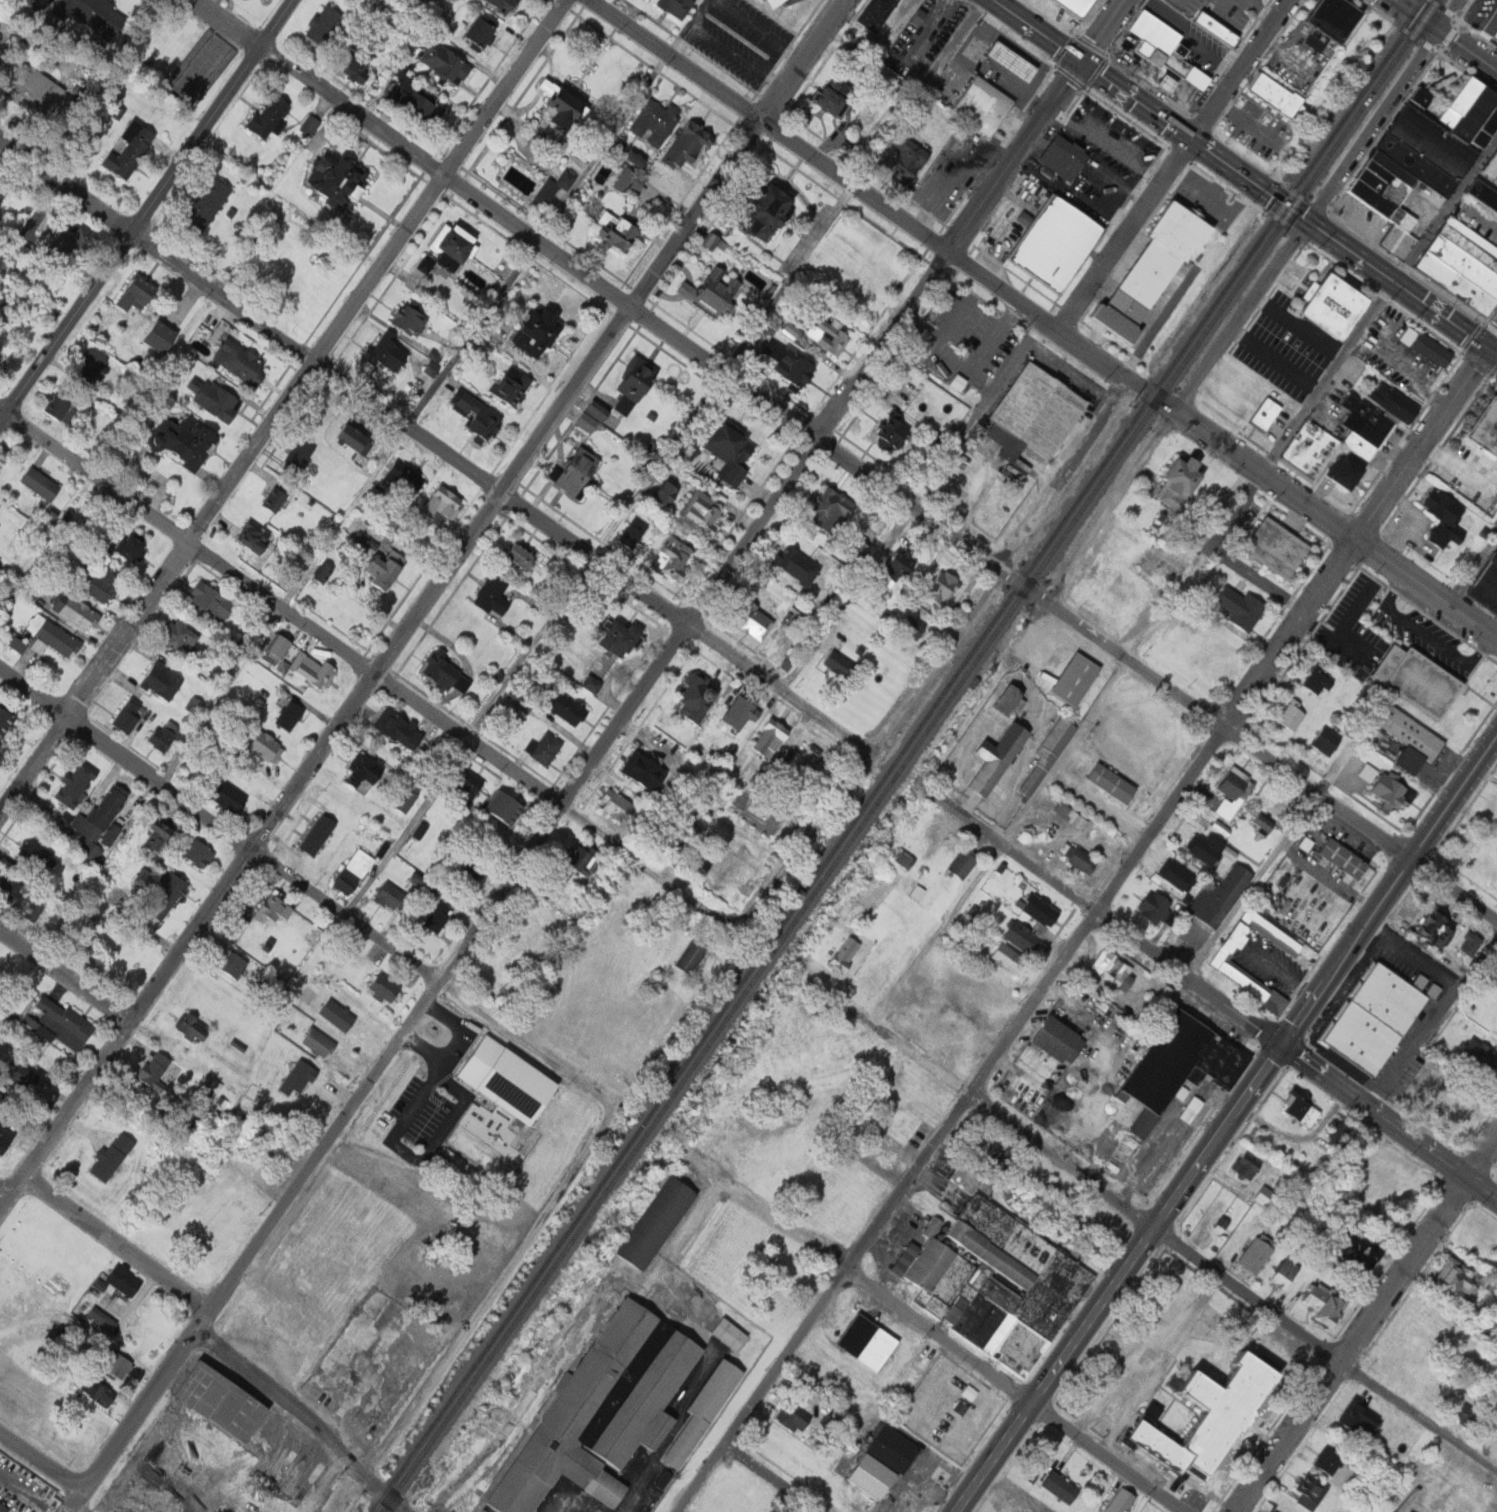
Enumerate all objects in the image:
building: (774, 3)
building: (508, 4)
building: (674, 6)
building: (1074, 6)
road: (1409, 9)
building: (875, 14)
building: (95, 15)
road: (1448, 15)
building: (918, 16)
building: (1331, 18)
building: (324, 23)
building: (1490, 23)
road: (688, 27)
building: (484, 29)
building: (1215, 29)
road: (762, 30)
building: (1494, 41)
road: (1460, 45)
building: (1166, 49)
road: (737, 57)
building: (446, 60)
building: (1011, 62)
gas station: (1011, 62)
traffic signals: (1078, 63)
road: (1439, 66)
building: (361, 67)
park: (1442, 79)
building: (1168, 84)
gas station: (1168, 84)
building: (43, 89)
building: (1274, 94)
building: (1413, 96)
building: (1422, 97)
building: (832, 98)
building: (420, 99)
building: (1458, 103)
building: (981, 105)
road: (1140, 105)
building: (562, 109)
building: (1473, 113)
building: (272, 116)
building: (657, 121)
building: (311, 124)
road: (1373, 126)
building: (1484, 127)
building: (1432, 141)
building: (691, 144)
building: (132, 149)
road: (602, 150)
building: (638, 157)
building: (1063, 158)
building: (907, 161)
building: (1417, 164)
road: (1173, 165)
building: (1491, 165)
building: (625, 177)
building: (339, 178)
building: (568, 178)
building: (1388, 178)
building: (548, 192)
building: (1483, 194)
building: (2, 196)
road: (873, 201)
building: (208, 203)
building: (1382, 205)
road: (146, 209)
building: (772, 210)
road: (1473, 217)
parking lot: (1476, 217)
building: (620, 231)
building: (76, 241)
building: (1398, 241)
building: (1053, 242)
building: (1470, 243)
building: (455, 245)
building: (1166, 252)
building: (427, 264)
building: (1463, 265)
road: (1392, 283)
building: (1454, 284)
building: (716, 290)
building: (139, 292)
road: (608, 295)
building: (1332, 301)
building: (412, 317)
building: (793, 329)
building: (535, 330)
building: (831, 334)
building: (162, 336)
building: (1431, 350)
building: (389, 352)
traffic signals: (1490, 352)
building: (242, 361)
building: (93, 363)
building: (795, 363)
building: (432, 370)
building: (958, 383)
building: (636, 384)
building: (514, 386)
building: (216, 398)
building: (1394, 403)
building: (63, 405)
road: (282, 406)
building: (601, 410)
road: (1174, 410)
building: (1035, 414)
building: (1266, 414)
building: (1368, 414)
building: (482, 417)
building: (589, 421)
building: (1486, 427)
building: (1364, 430)
building: (892, 431)
building: (358, 432)
building: (186, 440)
building: (1361, 446)
road: (433, 447)
building: (1309, 448)
building: (734, 452)
building: (581, 471)
building: (1346, 473)
building: (406, 475)
building: (42, 483)
building: (1179, 483)
building: (668, 491)
building: (675, 496)
building: (277, 498)
building: (1496, 503)
building: (445, 504)
building: (1444, 508)
building: (828, 510)
building: (705, 512)
road: (1327, 521)
building: (634, 534)
building: (1443, 536)
building: (256, 537)
building: (135, 546)
building: (1276, 548)
building: (859, 552)
building: (523, 554)
building: (675, 558)
building: (798, 566)
building: (386, 567)
building: (894, 570)
road: (1473, 570)
building: (325, 572)
road: (1186, 580)
building: (105, 584)
building: (1484, 584)
building: (941, 587)
building: (496, 594)
road: (846, 597)
building: (215, 600)
road: (422, 605)
building: (1239, 607)
road: (1355, 610)
building: (78, 611)
building: (751, 621)
road: (961, 621)
building: (911, 627)
building: (239, 634)
road: (1331, 635)
road: (1427, 635)
building: (54, 637)
building: (183, 637)
building: (625, 638)
building: (279, 643)
building: (19, 644)
building: (838, 664)
building: (316, 669)
road: (367, 671)
building: (449, 673)
building: (1074, 679)
building: (1419, 680)
building: (164, 681)
building: (1316, 681)
building: (594, 683)
building: (699, 696)
building: (1007, 700)
building: (522, 701)
building: (571, 709)
building: (745, 712)
building: (130, 715)
building: (292, 715)
building: (1290, 715)
building: (7, 719)
building: (401, 729)
building: (163, 737)
building: (773, 737)
road: (604, 739)
building: (1411, 739)
building: (1326, 741)
building: (269, 746)
building: (546, 748)
building: (1049, 750)
building: (426, 752)
road: (1262, 752)
railway: (898, 755)
railway: (909, 756)
building: (997, 763)
building: (366, 769)
building: (647, 771)
building: (1368, 772)
building: (1110, 782)
building: (77, 784)
building: (473, 785)
building: (1393, 791)
building: (1232, 793)
building: (229, 794)
building: (508, 807)
building: (623, 807)
building: (1069, 815)
building: (98, 823)
building: (1262, 824)
building: (422, 830)
building: (160, 833)
building: (321, 834)
building: (113, 835)
building: (509, 836)
building: (537, 842)
building: (384, 849)
building: (1210, 849)
building: (201, 852)
building: (40, 853)
building: (1076, 856)
building: (904, 858)
building: (1343, 858)
building: (584, 860)
building: (962, 862)
building: (356, 871)
building: (472, 873)
building: (1175, 874)
building: (144, 877)
building: (421, 882)
building: (15, 891)
road: (306, 891)
building: (1220, 895)
building: (168, 896)
building: (395, 897)
building: (275, 907)
building: (1153, 907)
building: (37, 910)
building: (1039, 910)
building: (970, 911)
building: (439, 916)
road: (1087, 927)
building: (1435, 930)
building: (1021, 937)
building: (1470, 943)
building: (844, 954)
road: (1413, 955)
building: (688, 956)
building: (1007, 958)
building: (235, 964)
building: (1219, 964)
building: (1110, 968)
road: (64, 977)
building: (873, 979)
building: (1424, 986)
building: (387, 988)
road: (1208, 993)
building: (1496, 994)
building: (1160, 996)
building: (340, 1014)
building: (1371, 1018)
road: (1433, 1021)
building: (62, 1023)
building: (195, 1028)
building: (1055, 1038)
building: (321, 1042)
traffic signals: (1283, 1044)
building: (1479, 1053)
building: (1180, 1065)
building: (158, 1071)
building: (27, 1075)
building: (302, 1077)
building: (511, 1080)
building: (216, 1085)
building: (2, 1098)
building: (1296, 1108)
road: (613, 1111)
building: (1183, 1115)
road: (1226, 1125)
building: (6, 1138)
building: (113, 1157)
building: (1242, 1166)
road: (3, 1198)
building: (651, 1222)
road: (775, 1223)
road: (1160, 1234)
road: (117, 1243)
building: (1253, 1254)
building: (1353, 1256)
building: (900, 1258)
building: (1280, 1274)
building: (127, 1281)
building: (1450, 1282)
building: (992, 1283)
building: (1319, 1305)
building: (104, 1319)
road: (1364, 1324)
building: (725, 1334)
building: (863, 1342)
building: (123, 1366)
road: (1016, 1386)
building: (100, 1390)
building: (968, 1391)
building: (957, 1407)
road: (295, 1411)
building: (602, 1411)
building: (1147, 1411)
building: (697, 1412)
building: (790, 1418)
building: (1212, 1419)
building: (1354, 1422)
building: (1496, 1452)
road: (41, 1461)
building: (875, 1461)
building: (1322, 1463)
building: (201, 1475)
road: (768, 1480)
road: (22, 1484)
building: (1055, 1486)
building: (1307, 1495)
building: (1115, 1501)
road: (396, 1506)
building: (4, 1507)
building: (486, 1509)
building: (1377, 1509)
building: (1383, 1510)

